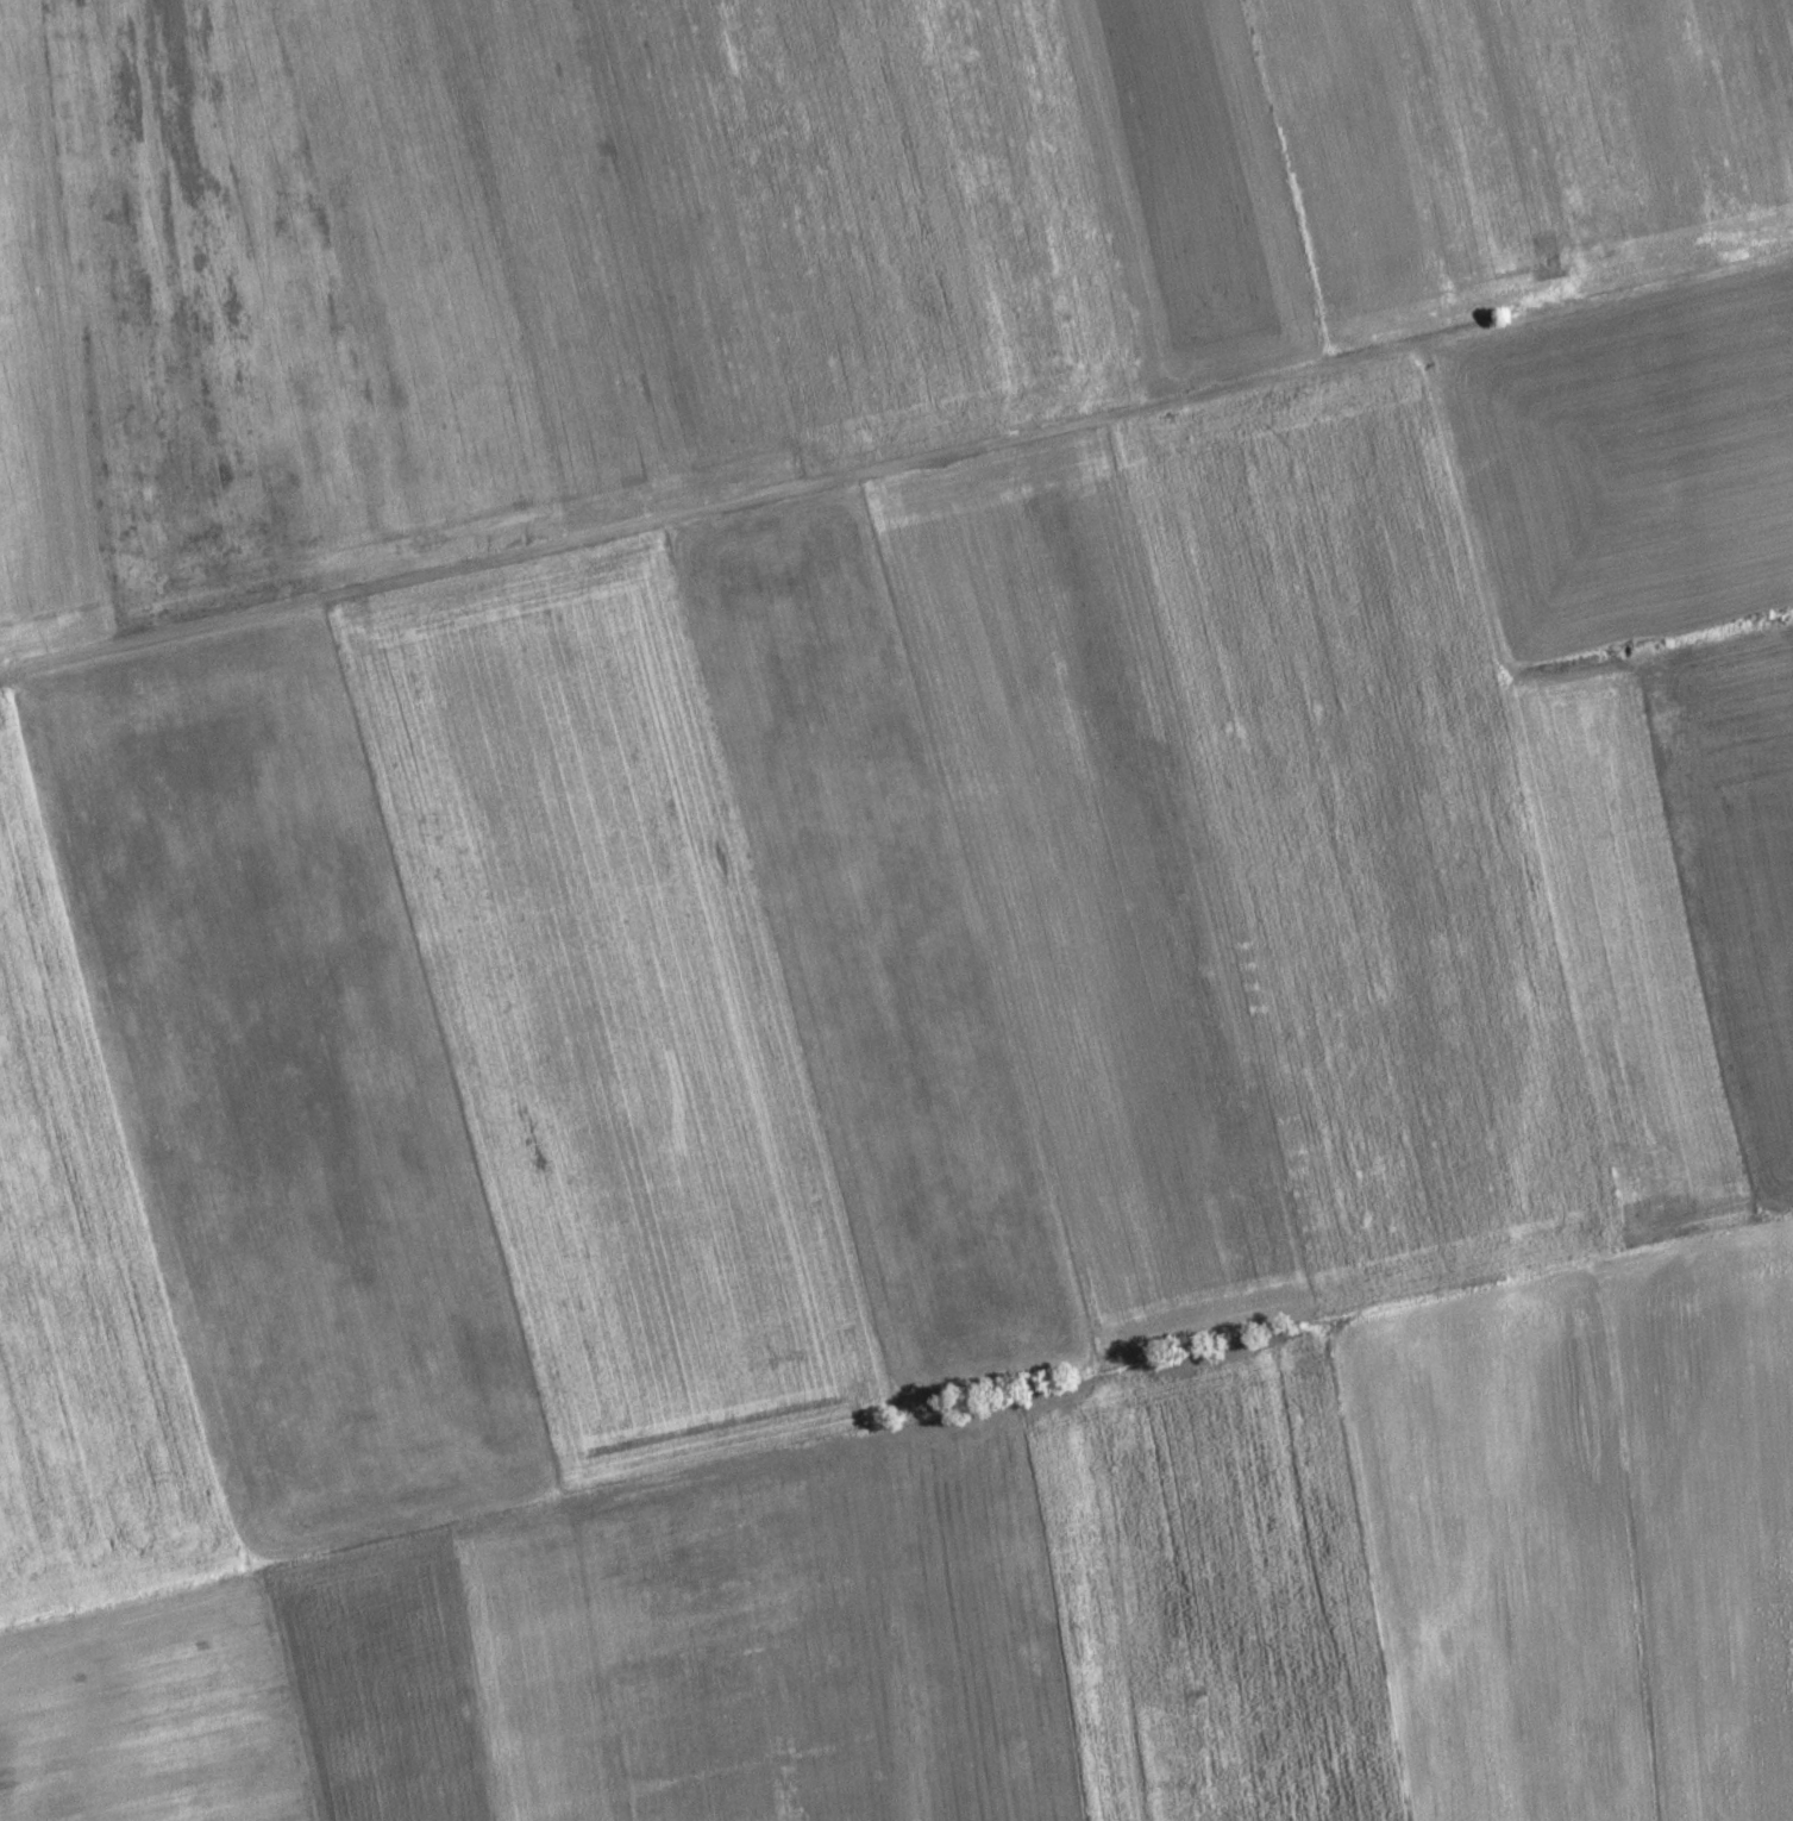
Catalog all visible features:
road: (896, 446)

